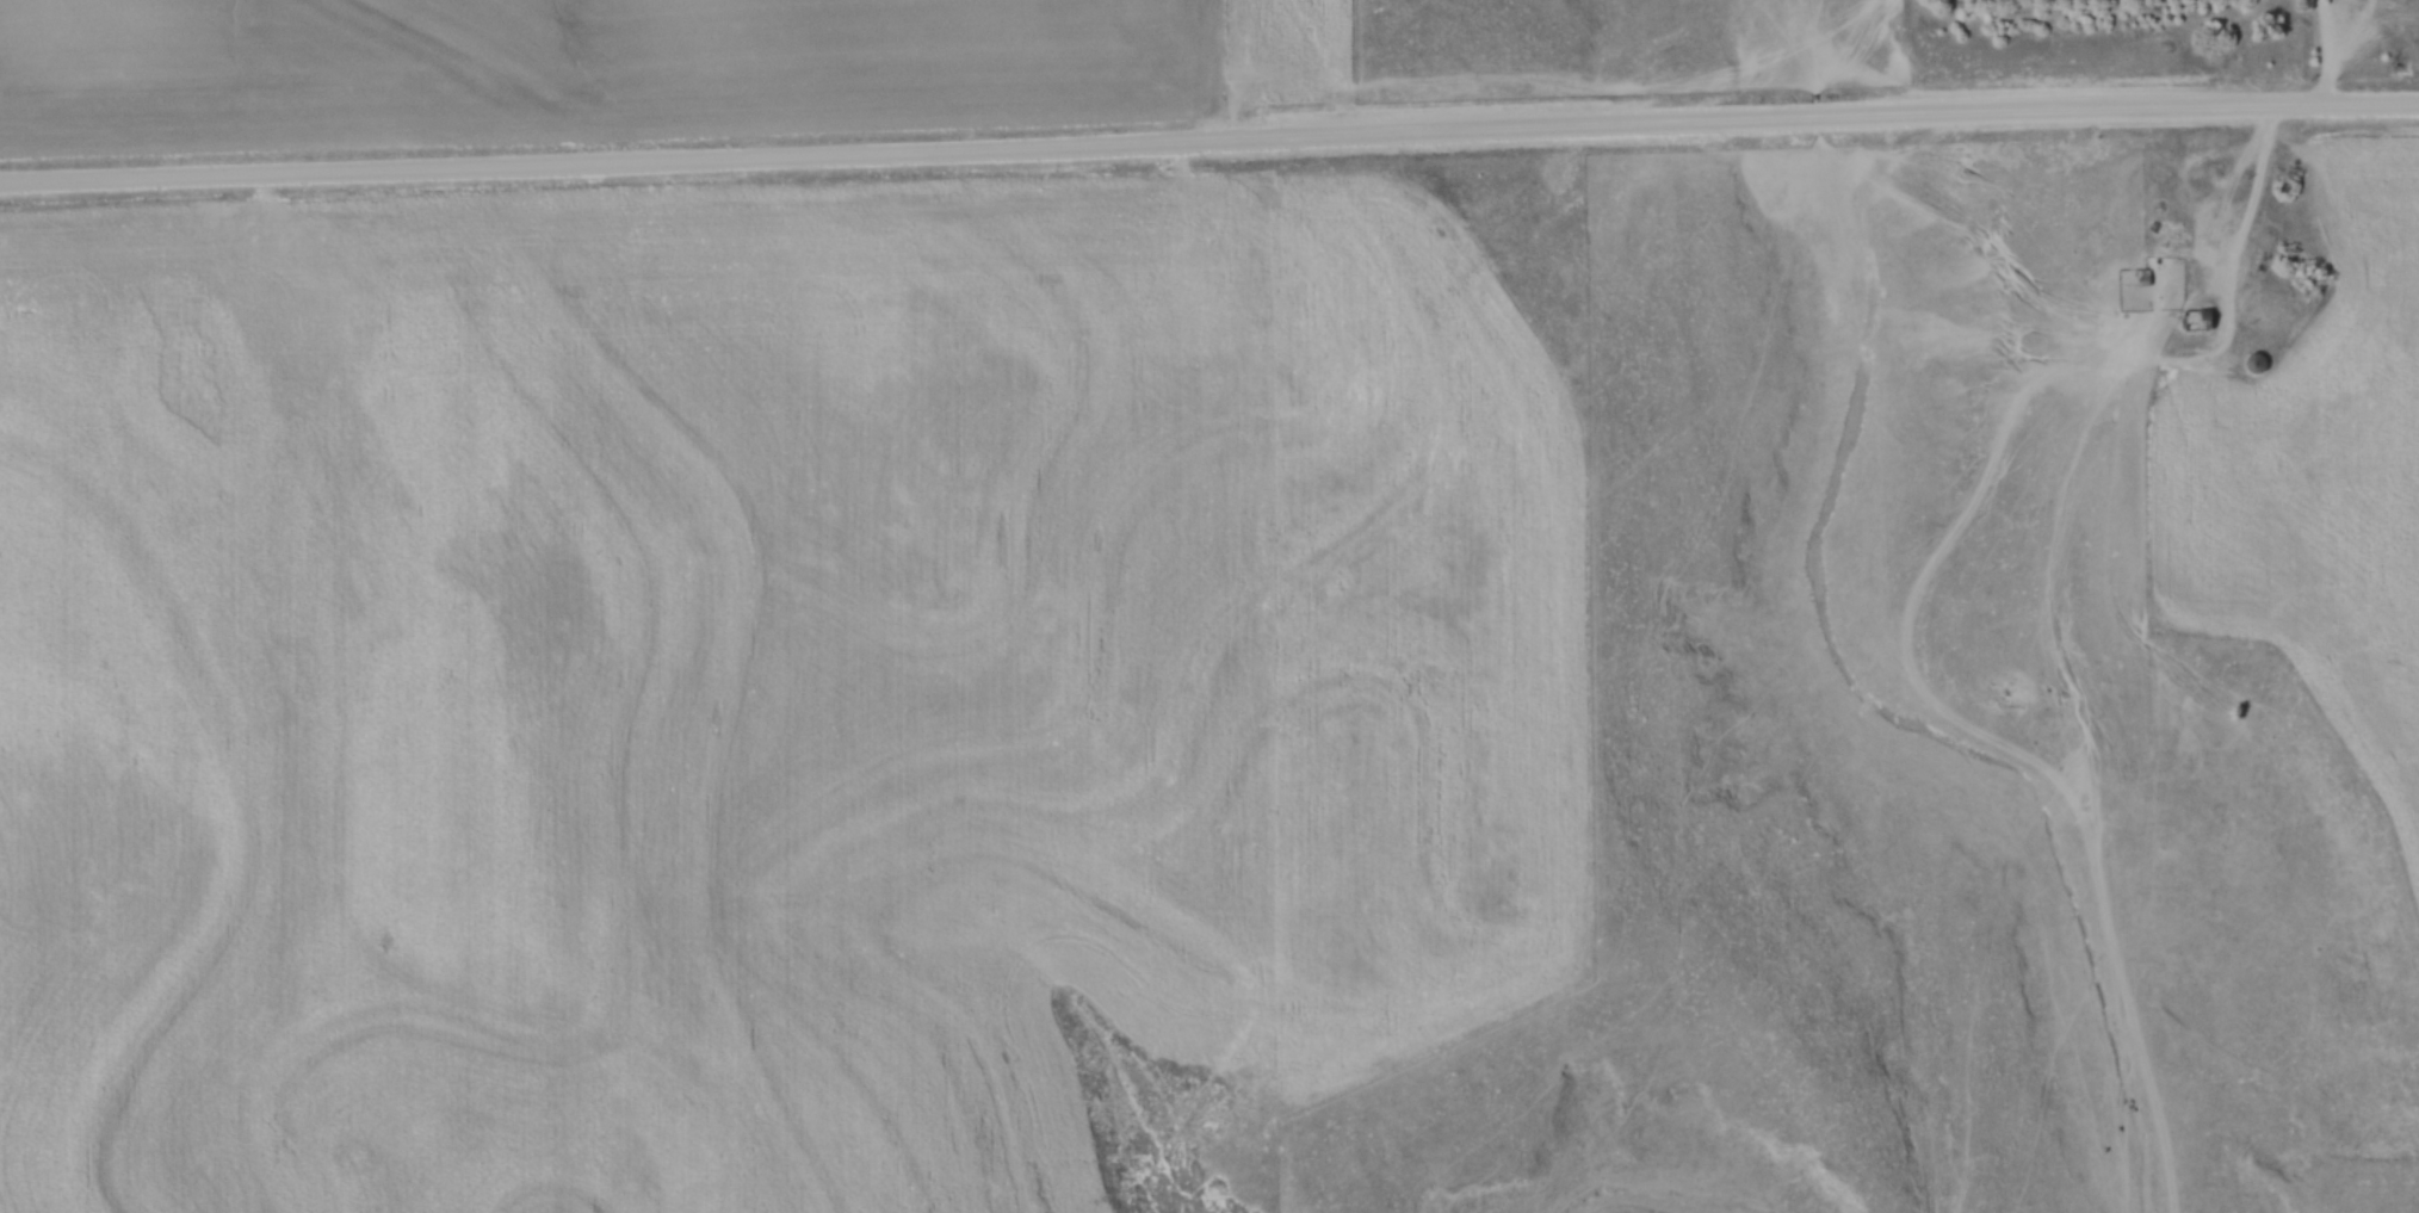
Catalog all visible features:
road: (1208, 140)
building: (2133, 278)
building: (2198, 321)
building: (2256, 364)

